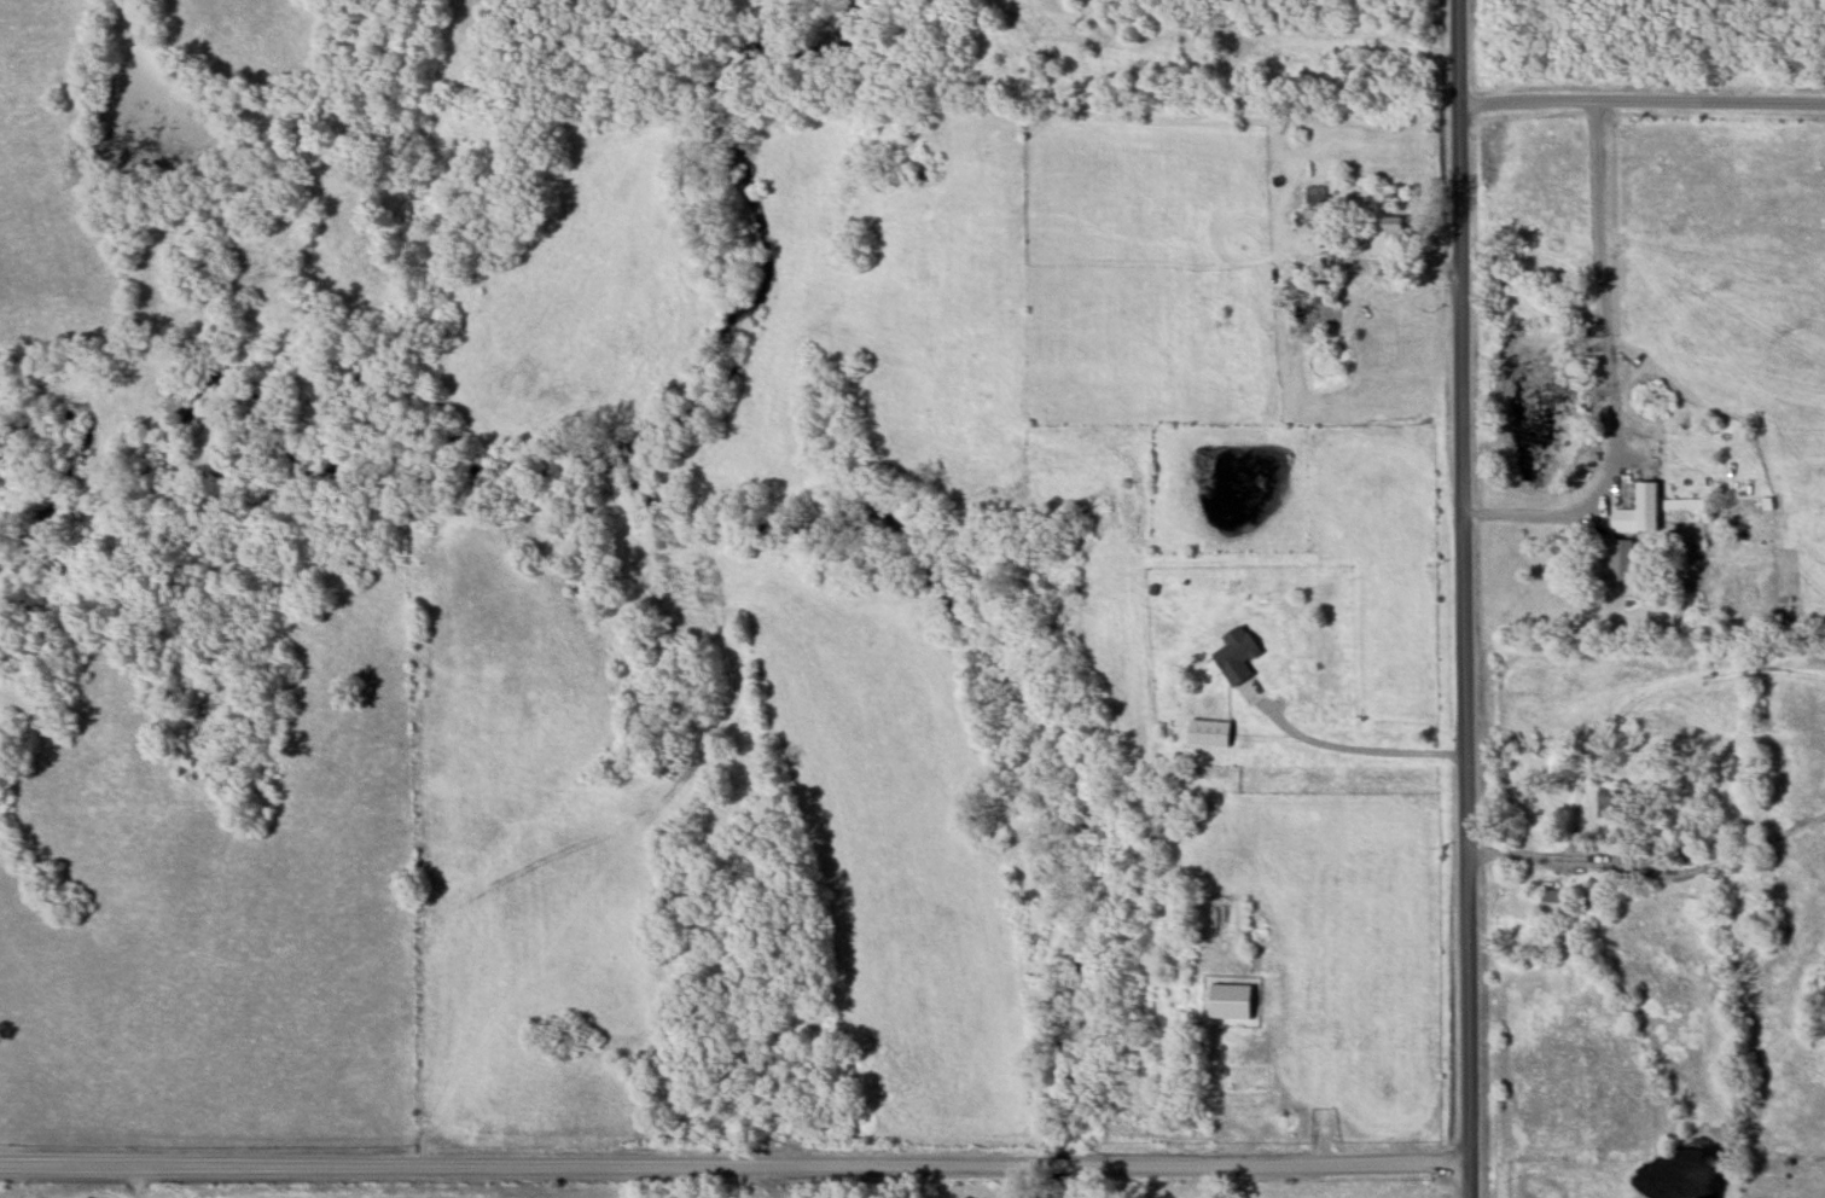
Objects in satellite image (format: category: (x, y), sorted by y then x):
road: (1641, 100)
building: (1315, 194)
building: (1388, 235)
road: (1608, 368)
building: (1684, 505)
building: (1638, 512)
building: (1620, 560)
road: (1465, 598)
building: (1237, 656)
building: (1208, 733)
road: (1343, 750)
building: (1610, 806)
road: (1546, 857)
building: (1556, 903)
road: (734, 1167)

